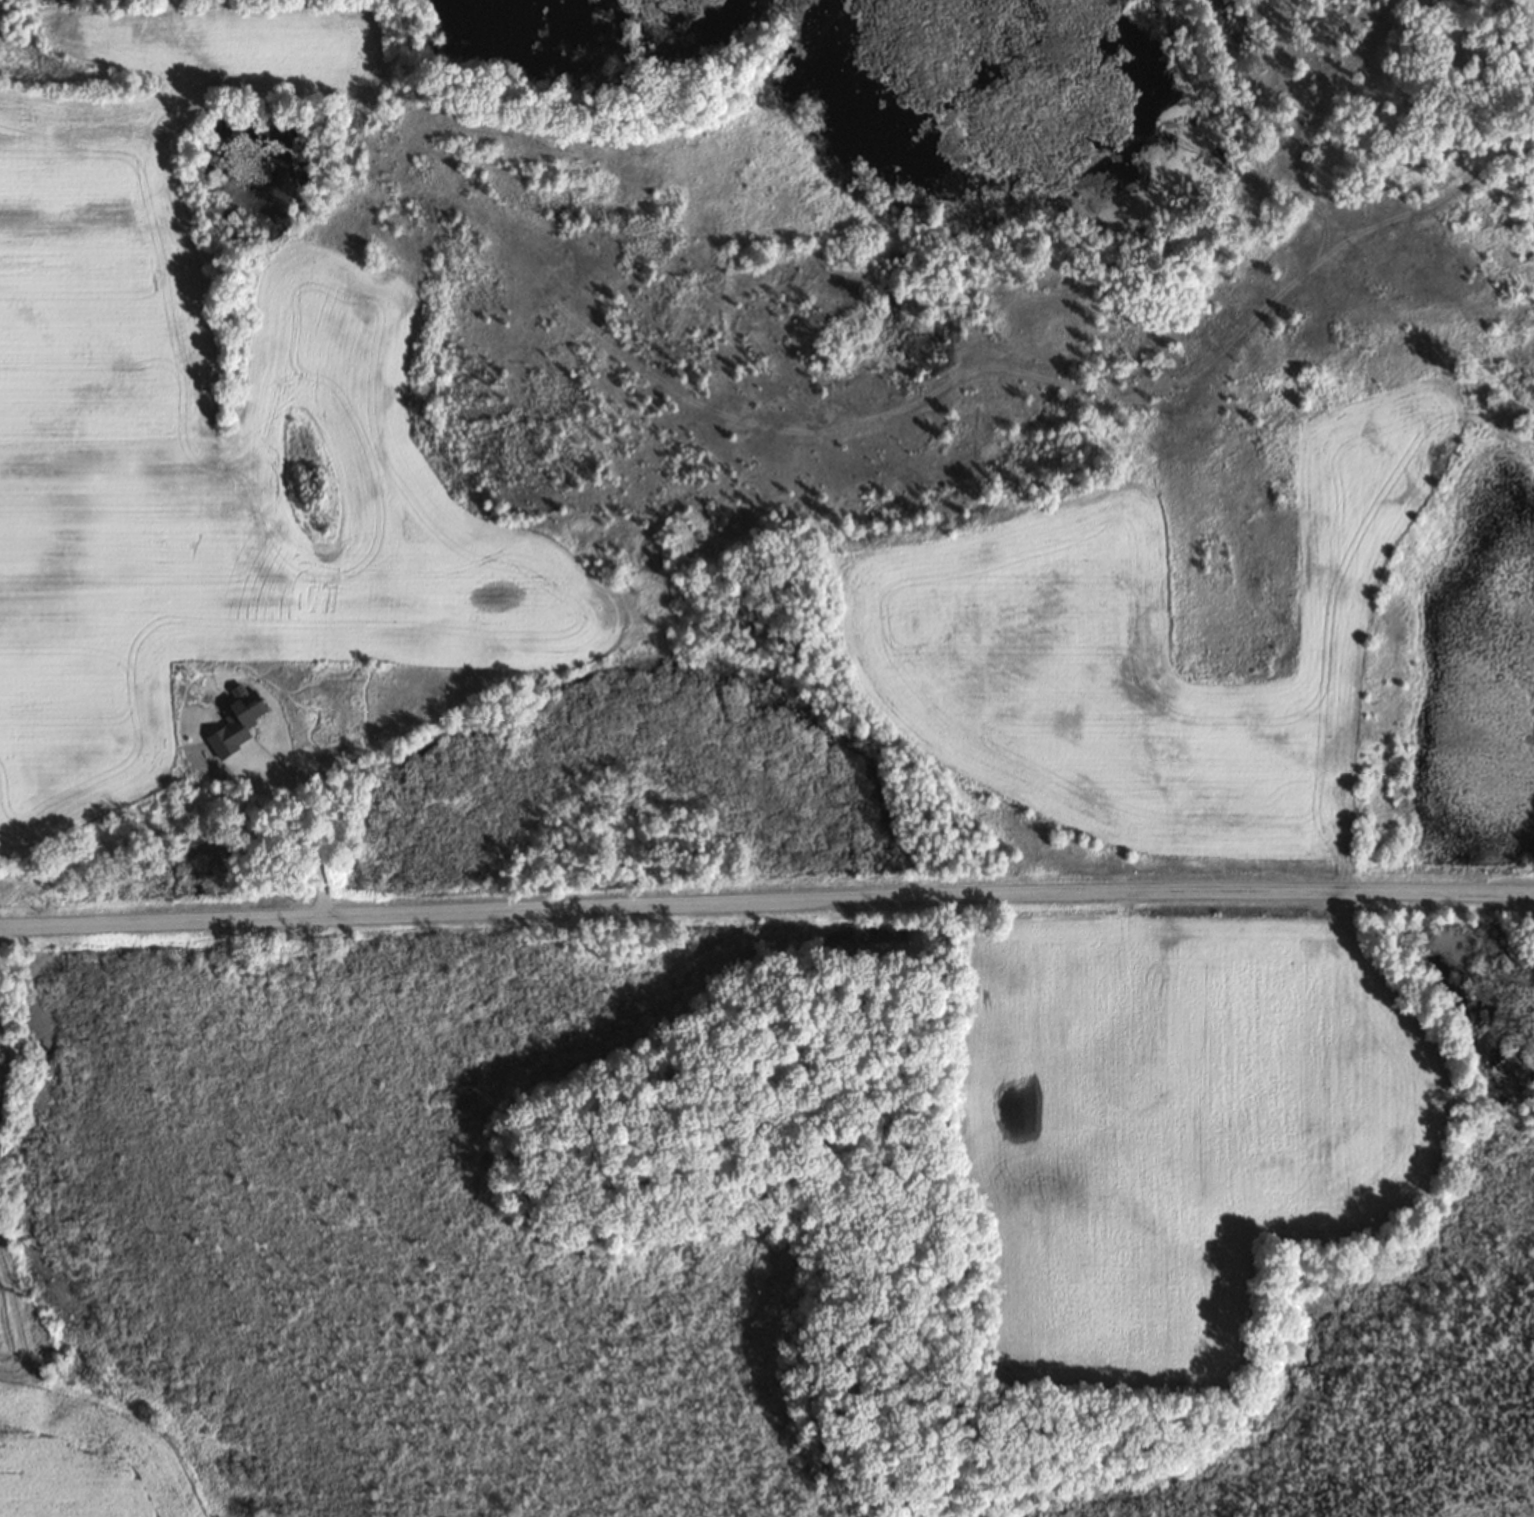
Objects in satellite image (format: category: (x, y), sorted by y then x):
road: (766, 904)

